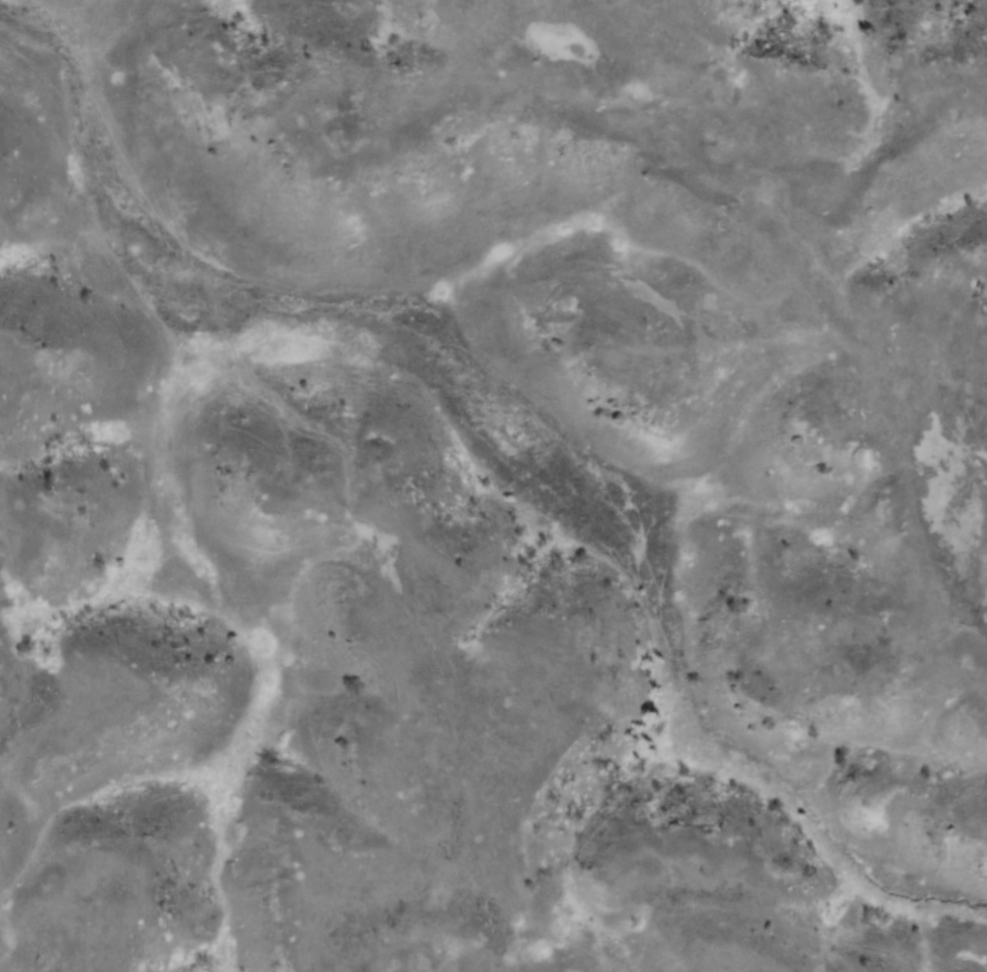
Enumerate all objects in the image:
road: (14, 960)

